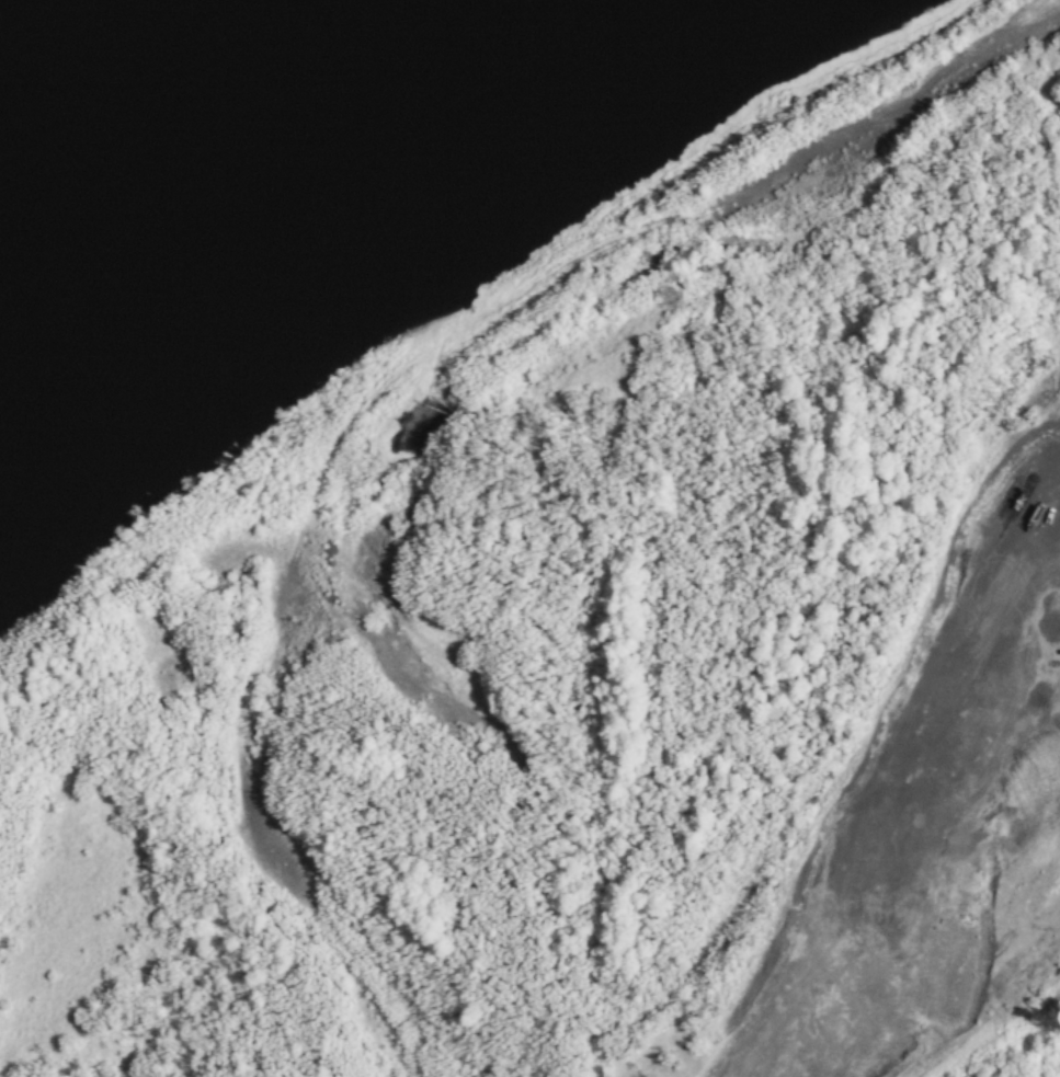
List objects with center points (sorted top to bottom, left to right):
river: (217, 184)

